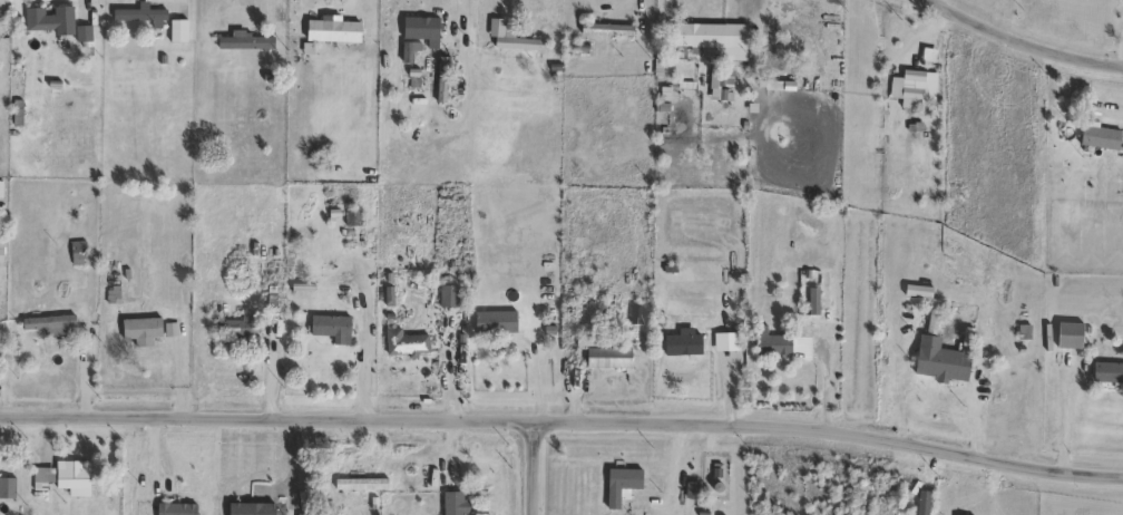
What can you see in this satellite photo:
road: (179, 0)
road: (460, 13)
road: (274, 16)
building: (143, 17)
road: (638, 17)
road: (732, 17)
road: (367, 18)
road: (932, 19)
road: (484, 20)
building: (50, 21)
building: (607, 31)
building: (179, 33)
building: (85, 36)
building: (336, 43)
building: (517, 43)
road: (1021, 43)
building: (248, 45)
building: (417, 47)
building: (717, 47)
building: (787, 50)
building: (416, 80)
building: (443, 81)
building: (911, 89)
road: (1122, 113)
building: (1101, 138)
building: (353, 220)
building: (551, 237)
building: (79, 254)
building: (453, 294)
building: (50, 327)
building: (240, 328)
building: (332, 328)
building: (143, 333)
building: (1071, 338)
building: (407, 346)
building: (500, 347)
building: (683, 347)
building: (775, 347)
building: (606, 353)
building: (940, 358)
road: (540, 369)
road: (272, 372)
road: (453, 373)
road: (372, 375)
road: (89, 376)
building: (1107, 377)
road: (573, 381)
road: (735, 383)
road: (826, 387)
road: (980, 406)
road: (1070, 418)
road: (563, 426)
road: (291, 468)
road: (536, 469)
road: (675, 470)
road: (774, 472)
building: (67, 480)
building: (622, 485)
building: (8, 490)
building: (693, 492)
building: (457, 505)
building: (264, 507)
building: (177, 511)

